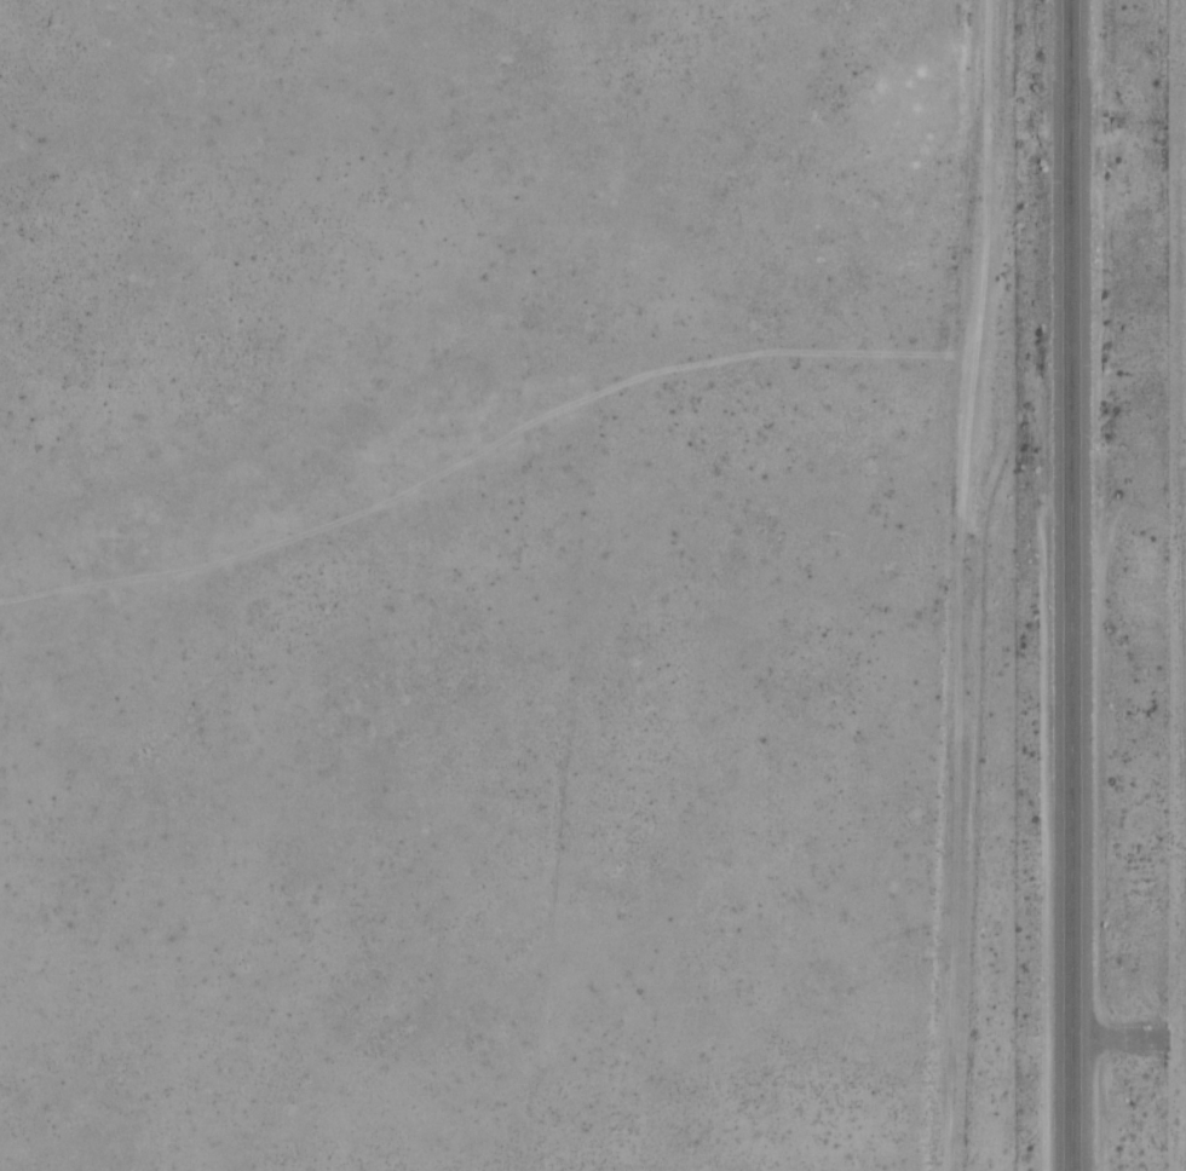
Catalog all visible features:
road: (1088, 585)
road: (960, 742)

